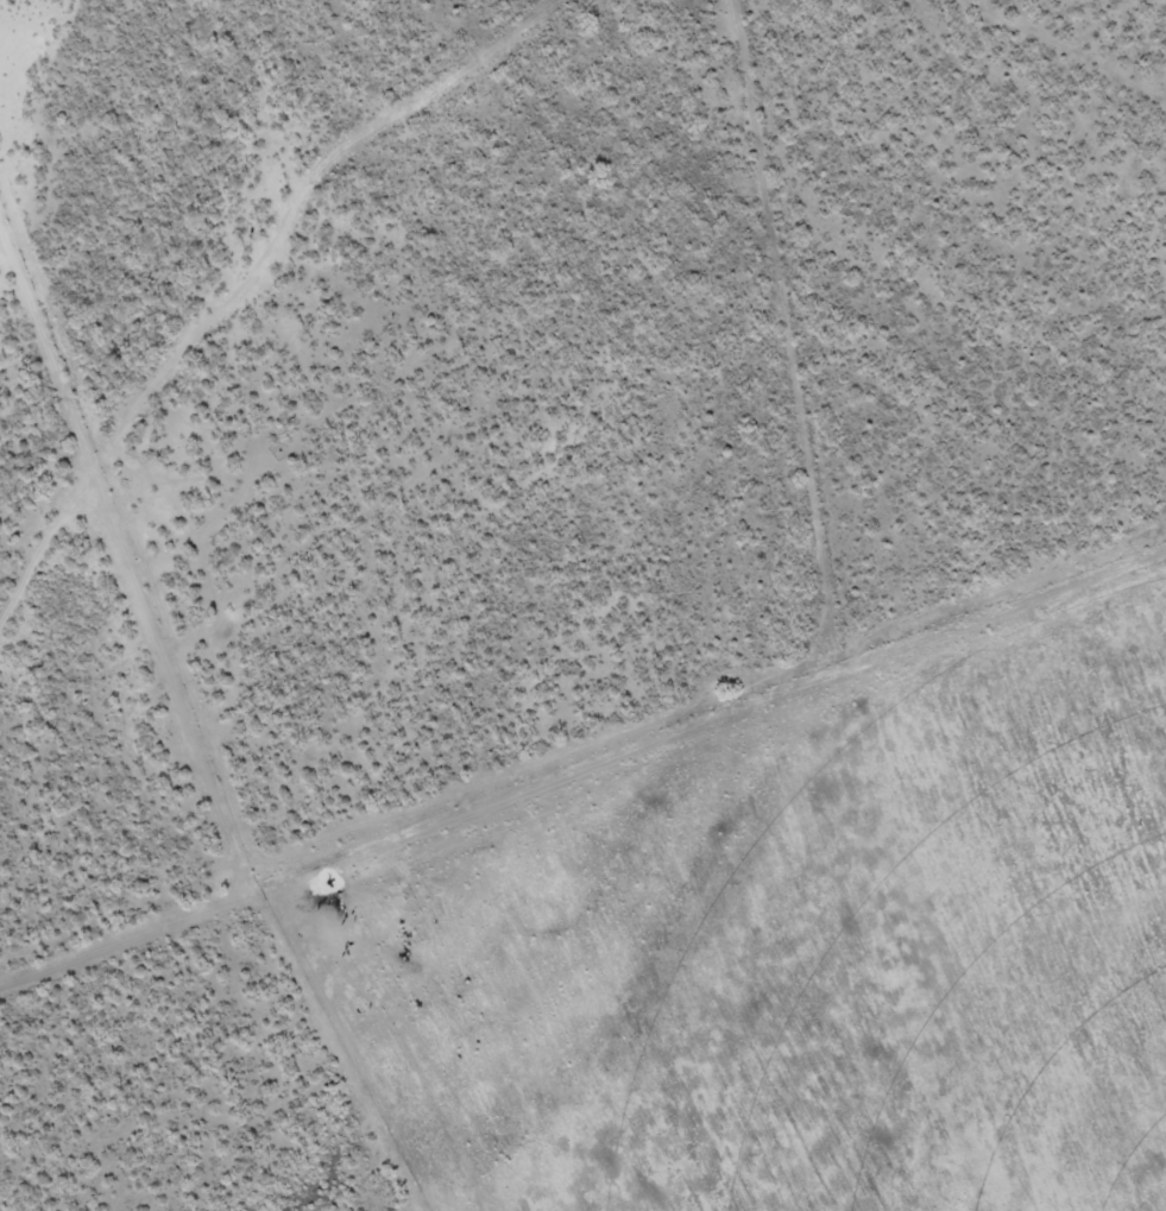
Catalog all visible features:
road: (141, 409)

